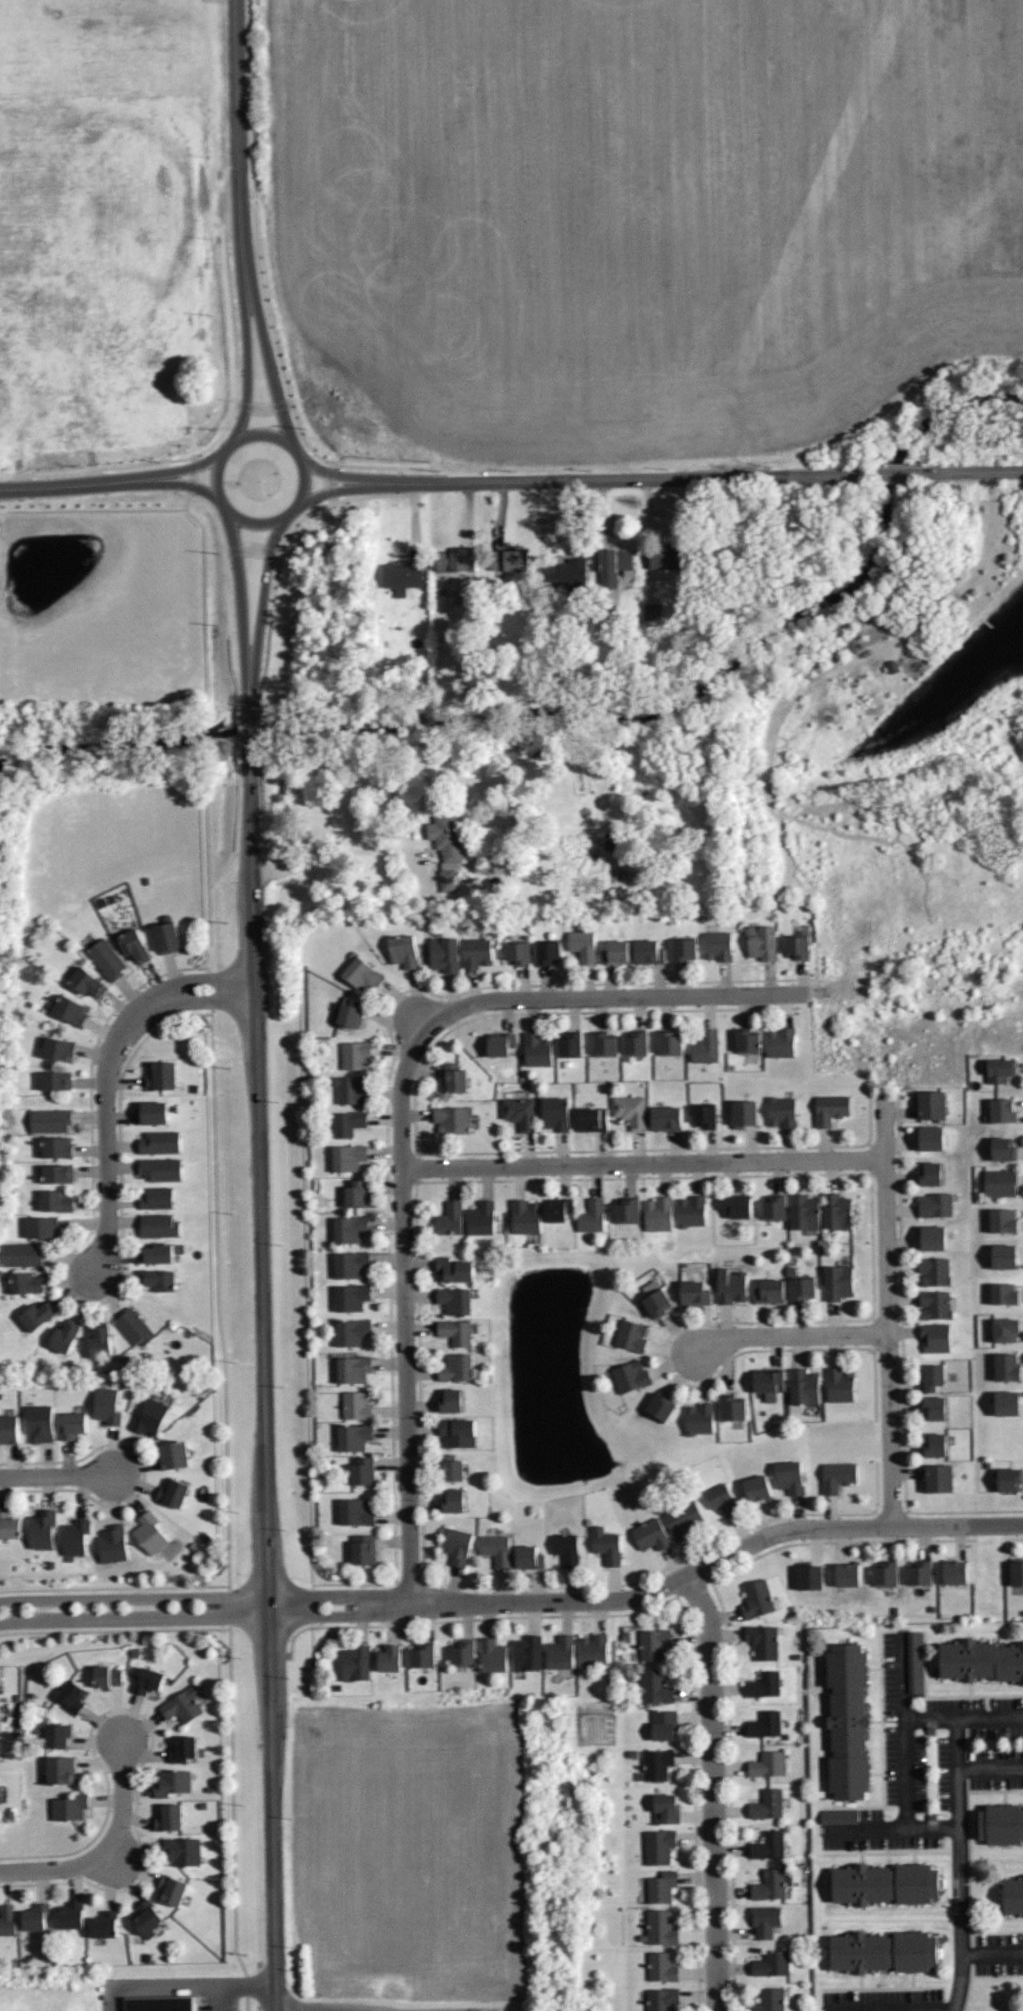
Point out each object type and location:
road: (243, 137)
road: (248, 278)
road: (288, 391)
road: (263, 408)
road: (227, 426)
road: (258, 431)
road: (192, 474)
road: (158, 475)
road: (696, 477)
road: (329, 482)
road: (367, 484)
road: (78, 485)
road: (255, 550)
building: (668, 557)
building: (508, 559)
building: (454, 560)
building: (613, 566)
building: (564, 575)
building: (402, 576)
road: (968, 583)
road: (269, 631)
road: (250, 668)
road: (251, 687)
road: (252, 735)
building: (449, 837)
road: (329, 860)
building: (168, 934)
building: (760, 941)
building: (134, 943)
building: (582, 944)
building: (718, 944)
building: (798, 946)
building: (682, 948)
building: (476, 949)
building: (402, 950)
building: (615, 950)
building: (648, 950)
building: (546, 951)
building: (516, 952)
building: (443, 953)
building: (105, 958)
building: (360, 971)
building: (85, 981)
building: (68, 1009)
building: (349, 1011)
building: (747, 1040)
building: (780, 1040)
building: (635, 1042)
building: (668, 1042)
building: (500, 1043)
building: (569, 1043)
building: (603, 1043)
building: (705, 1045)
building: (536, 1047)
building: (59, 1048)
building: (354, 1054)
building: (998, 1070)
road: (106, 1075)
building: (160, 1075)
building: (453, 1078)
building: (55, 1080)
building: (349, 1089)
building: (934, 1104)
building: (830, 1108)
building: (630, 1109)
building: (780, 1110)
building: (1001, 1110)
building: (154, 1111)
building: (519, 1111)
building: (555, 1111)
building: (745, 1112)
building: (703, 1114)
building: (665, 1116)
building: (50, 1118)
road: (401, 1118)
building: (593, 1118)
building: (450, 1119)
building: (346, 1123)
building: (932, 1138)
building: (160, 1141)
building: (55, 1147)
building: (1002, 1148)
building: (349, 1157)
road: (643, 1162)
building: (162, 1169)
building: (57, 1173)
building: (931, 1174)
building: (1000, 1183)
building: (358, 1193)
building: (157, 1197)
building: (55, 1200)
building: (936, 1203)
building: (738, 1204)
building: (773, 1207)
building: (556, 1208)
building: (626, 1209)
building: (690, 1209)
building: (835, 1210)
building: (658, 1212)
building: (803, 1212)
building: (591, 1214)
building: (525, 1215)
building: (483, 1217)
building: (451, 1218)
building: (1003, 1220)
building: (158, 1224)
building: (41, 1227)
building: (349, 1228)
building: (332, 1230)
building: (933, 1235)
road: (217, 1239)
building: (157, 1252)
building: (19, 1253)
building: (1006, 1254)
building: (350, 1264)
building: (453, 1269)
building: (934, 1270)
building: (158, 1279)
building: (836, 1281)
building: (24, 1282)
building: (731, 1284)
building: (801, 1288)
building: (769, 1289)
building: (694, 1291)
building: (1004, 1294)
building: (350, 1297)
building: (654, 1298)
building: (453, 1299)
building: (934, 1303)
road: (887, 1311)
building: (37, 1314)
building: (133, 1326)
building: (1006, 1329)
building: (454, 1331)
building: (350, 1332)
building: (630, 1334)
road: (793, 1334)
building: (65, 1335)
building: (937, 1337)
building: (99, 1339)
building: (108, 1343)
building: (455, 1367)
building: (1008, 1367)
building: (351, 1368)
building: (629, 1375)
building: (931, 1376)
building: (767, 1382)
building: (840, 1383)
building: (803, 1386)
road: (263, 1390)
building: (451, 1400)
building: (1007, 1402)
building: (107, 1405)
building: (354, 1405)
building: (659, 1406)
building: (934, 1406)
building: (731, 1408)
building: (149, 1417)
building: (698, 1417)
building: (39, 1422)
building: (72, 1425)
building: (9, 1428)
building: (457, 1431)
building: (352, 1437)
building: (934, 1444)
building: (173, 1456)
building: (449, 1467)
building: (361, 1470)
road: (56, 1475)
building: (836, 1475)
building: (789, 1476)
building: (941, 1478)
building: (1009, 1479)
building: (758, 1487)
building: (172, 1492)
building: (453, 1499)
building: (720, 1499)
building: (354, 1511)
building: (683, 1519)
building: (8, 1526)
building: (41, 1528)
building: (149, 1532)
building: (652, 1535)
building: (75, 1537)
building: (112, 1543)
building: (606, 1544)
building: (455, 1546)
building: (363, 1549)
building: (497, 1549)
building: (566, 1549)
building: (529, 1558)
building: (954, 1571)
building: (1017, 1572)
building: (885, 1573)
building: (921, 1573)
building: (811, 1575)
building: (849, 1575)
road: (651, 1590)
building: (756, 1598)
road: (133, 1608)
building: (761, 1642)
building: (651, 1644)
building: (594, 1649)
building: (528, 1652)
building: (463, 1653)
building: (561, 1653)
building: (423, 1654)
building: (493, 1655)
building: (389, 1657)
building: (981, 1661)
building: (354, 1662)
building: (913, 1664)
building: (107, 1676)
building: (146, 1680)
building: (0, 1683)
building: (763, 1683)
building: (653, 1686)
building: (74, 1696)
building: (182, 1705)
building: (2, 1714)
road: (964, 1719)
building: (848, 1721)
building: (662, 1724)
building: (764, 1724)
road: (905, 1733)
building: (56, 1735)
building: (182, 1747)
building: (1, 1754)
building: (655, 1764)
building: (768, 1764)
road: (991, 1768)
building: (62, 1769)
building: (171, 1783)
road: (712, 1789)
building: (1, 1790)
road: (121, 1795)
building: (767, 1804)
building: (70, 1806)
building: (664, 1809)
building: (2, 1817)
building: (167, 1817)
building: (836, 1818)
building: (1001, 1824)
road: (891, 1829)
building: (0, 1835)
building: (767, 1845)
building: (657, 1846)
building: (182, 1851)
road: (960, 1865)
road: (55, 1869)
building: (769, 1884)
building: (885, 1884)
building: (661, 1886)
building: (171, 1889)
building: (1013, 1896)
building: (34, 1916)
building: (70, 1916)
building: (145, 1918)
building: (7, 1921)
building: (764, 1923)
building: (104, 1924)
building: (661, 1927)
building: (883, 1952)
road: (992, 1954)
building: (771, 1965)
building: (660, 1967)
road: (235, 1986)
road: (158, 1988)
building: (660, 1999)
building: (769, 1999)
building: (160, 2003)
road: (911, 2010)

